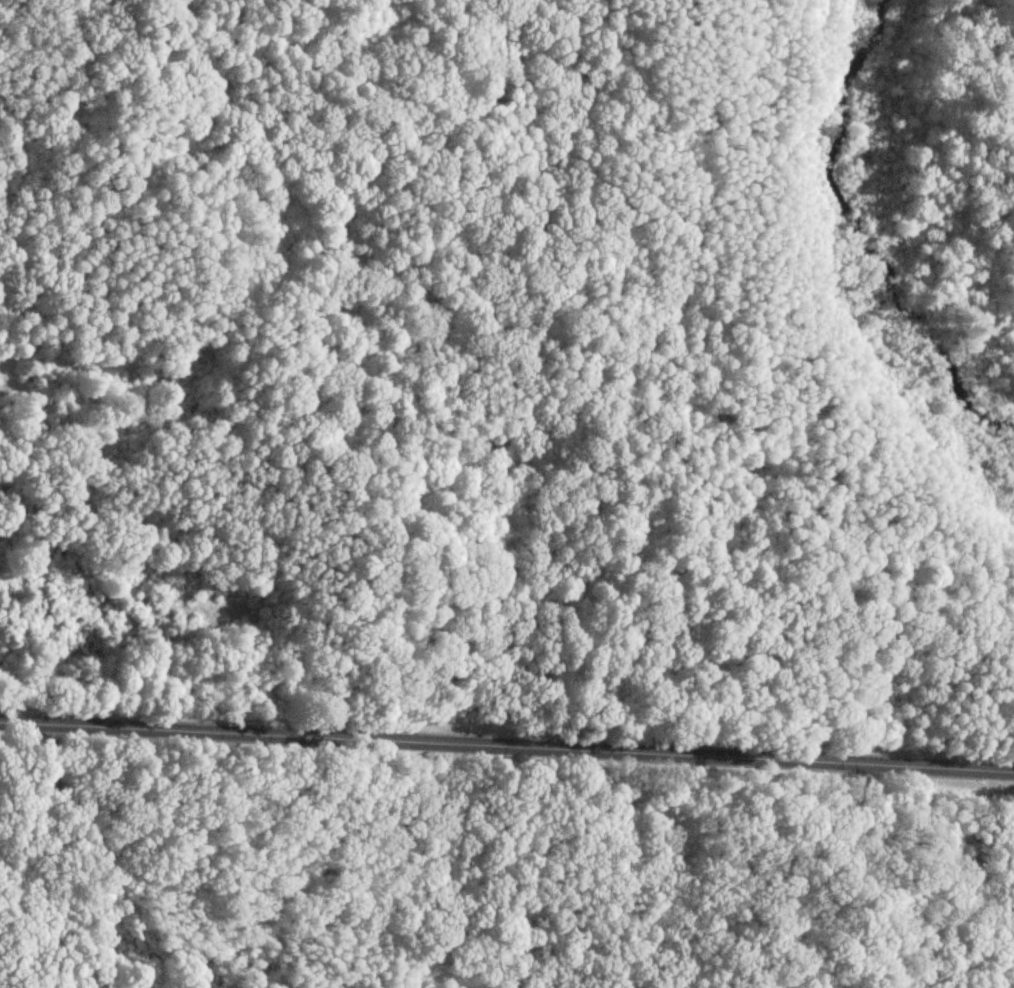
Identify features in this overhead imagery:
parking lot: (12, 391)
road: (507, 746)
road: (879, 871)

